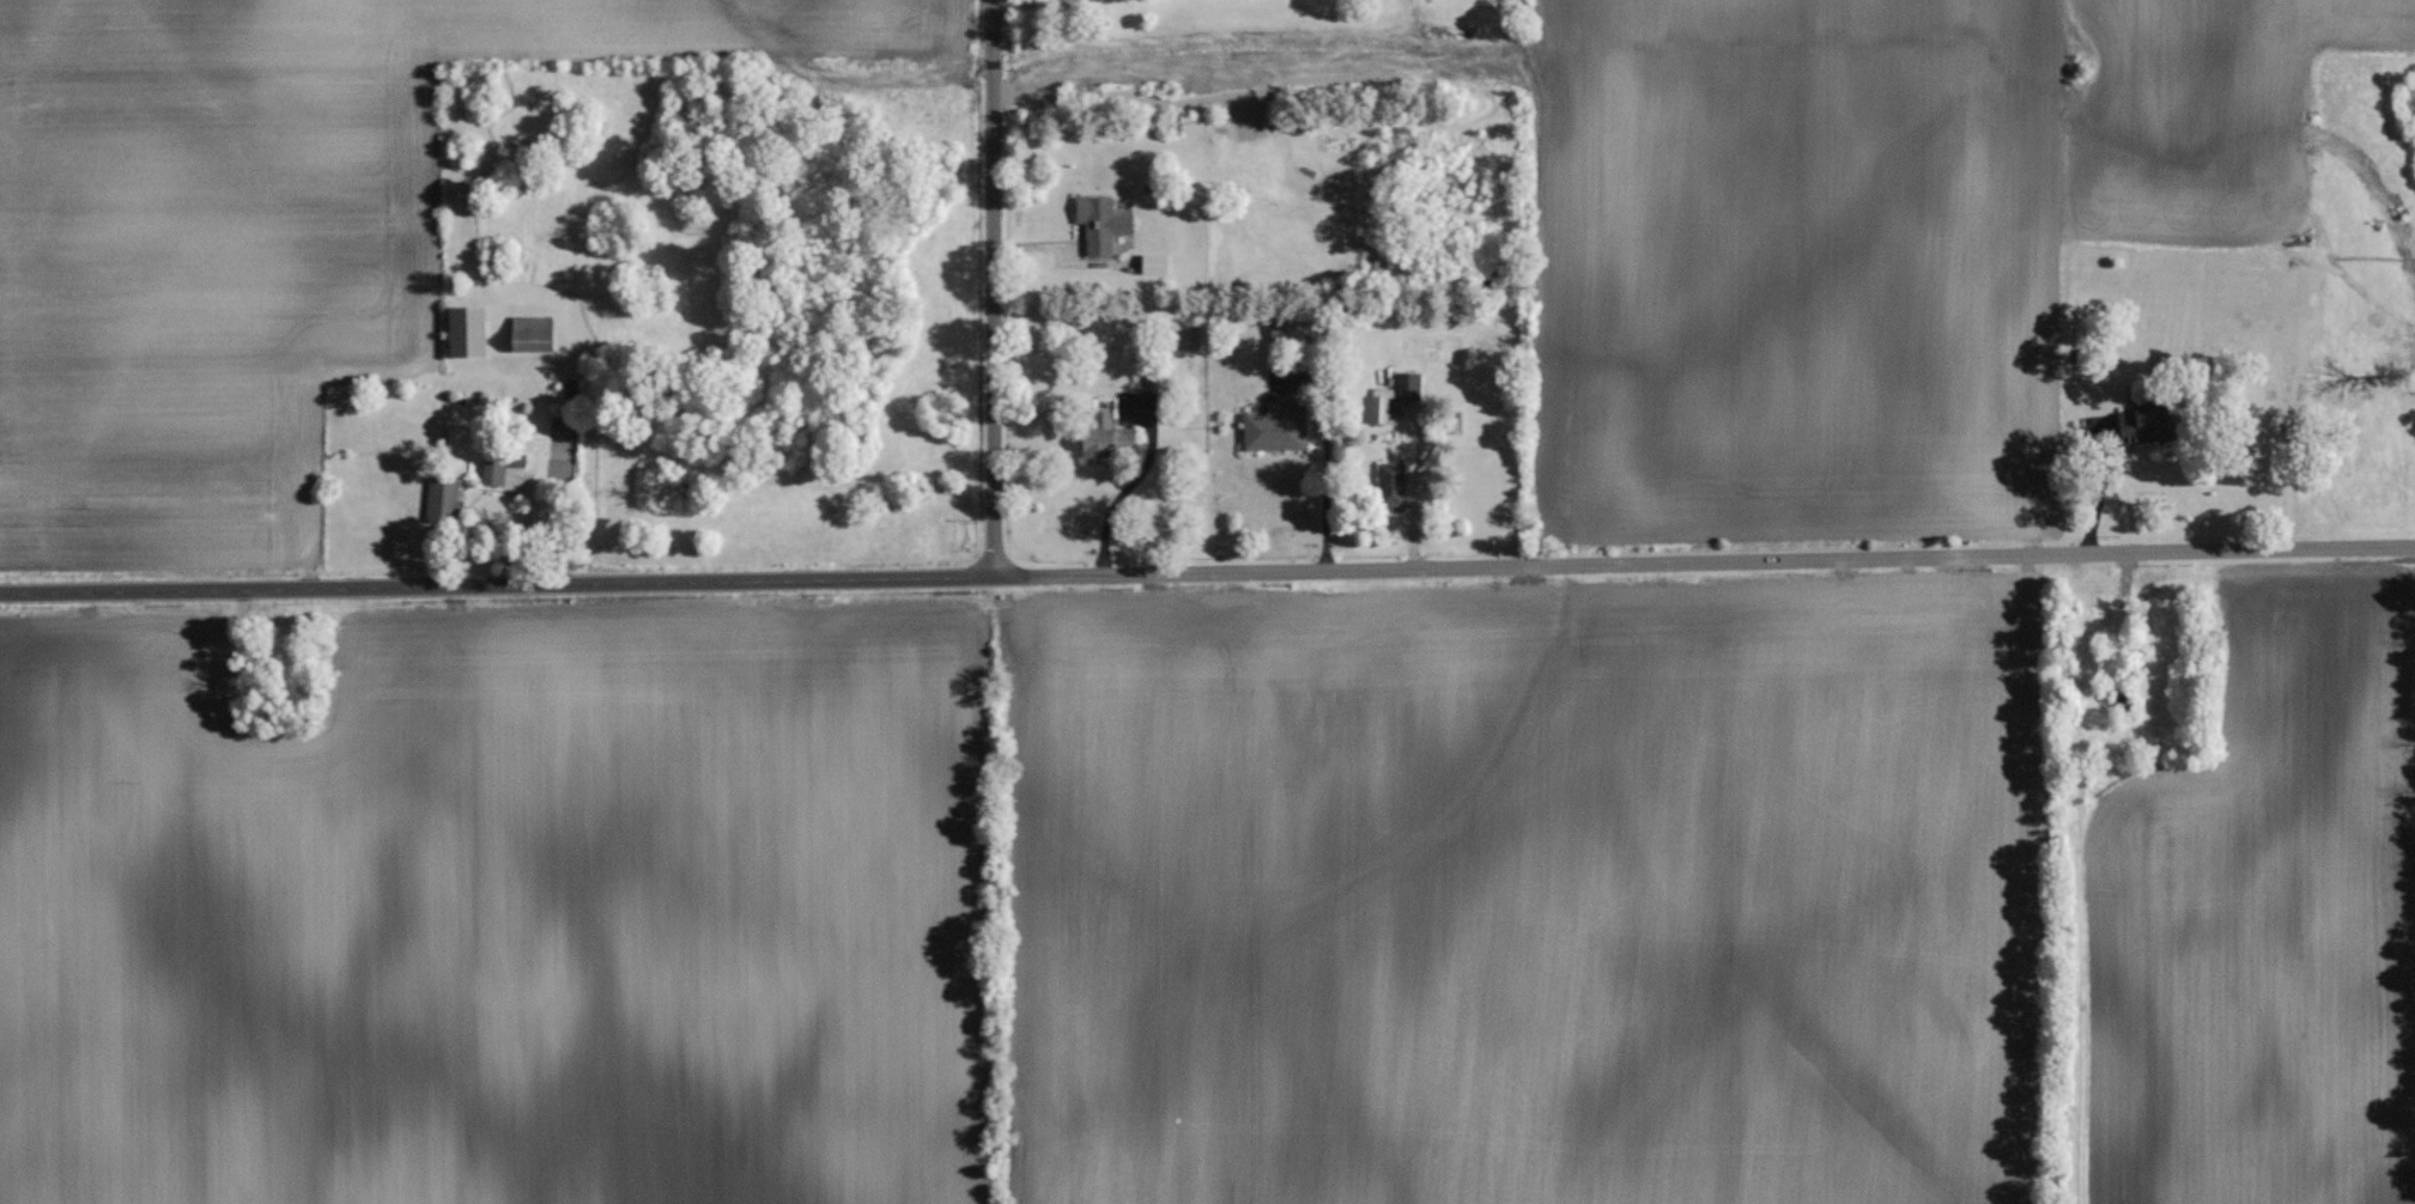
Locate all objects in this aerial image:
building: (1102, 224)
building: (1154, 263)
road: (1002, 288)
building: (1286, 329)
building: (467, 332)
building: (533, 334)
building: (1188, 339)
building: (1408, 385)
building: (1381, 403)
building: (2144, 425)
building: (1276, 428)
building: (1106, 442)
road: (2086, 470)
building: (493, 472)
road: (1321, 479)
building: (1391, 487)
road: (1412, 494)
building: (444, 499)
road: (1109, 501)
road: (1207, 574)

